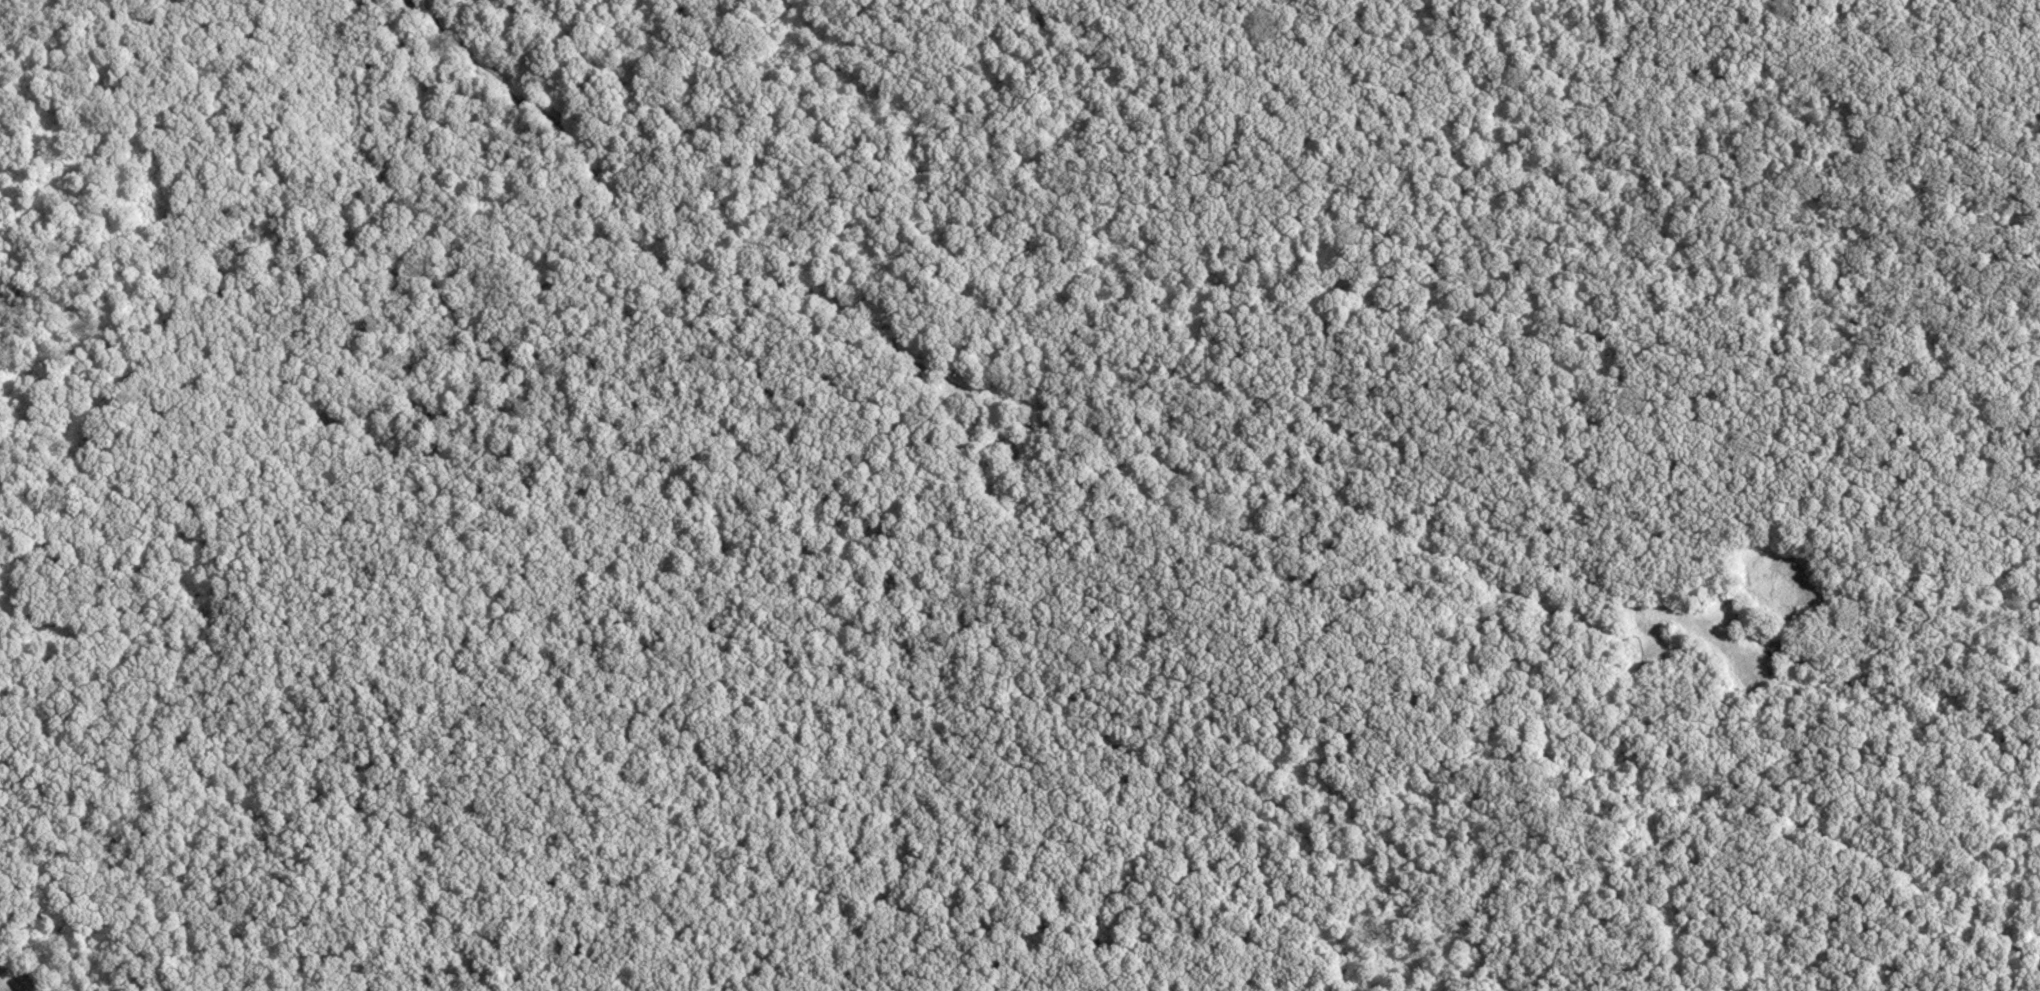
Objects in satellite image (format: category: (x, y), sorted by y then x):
road: (270, 282)
road: (1300, 507)

